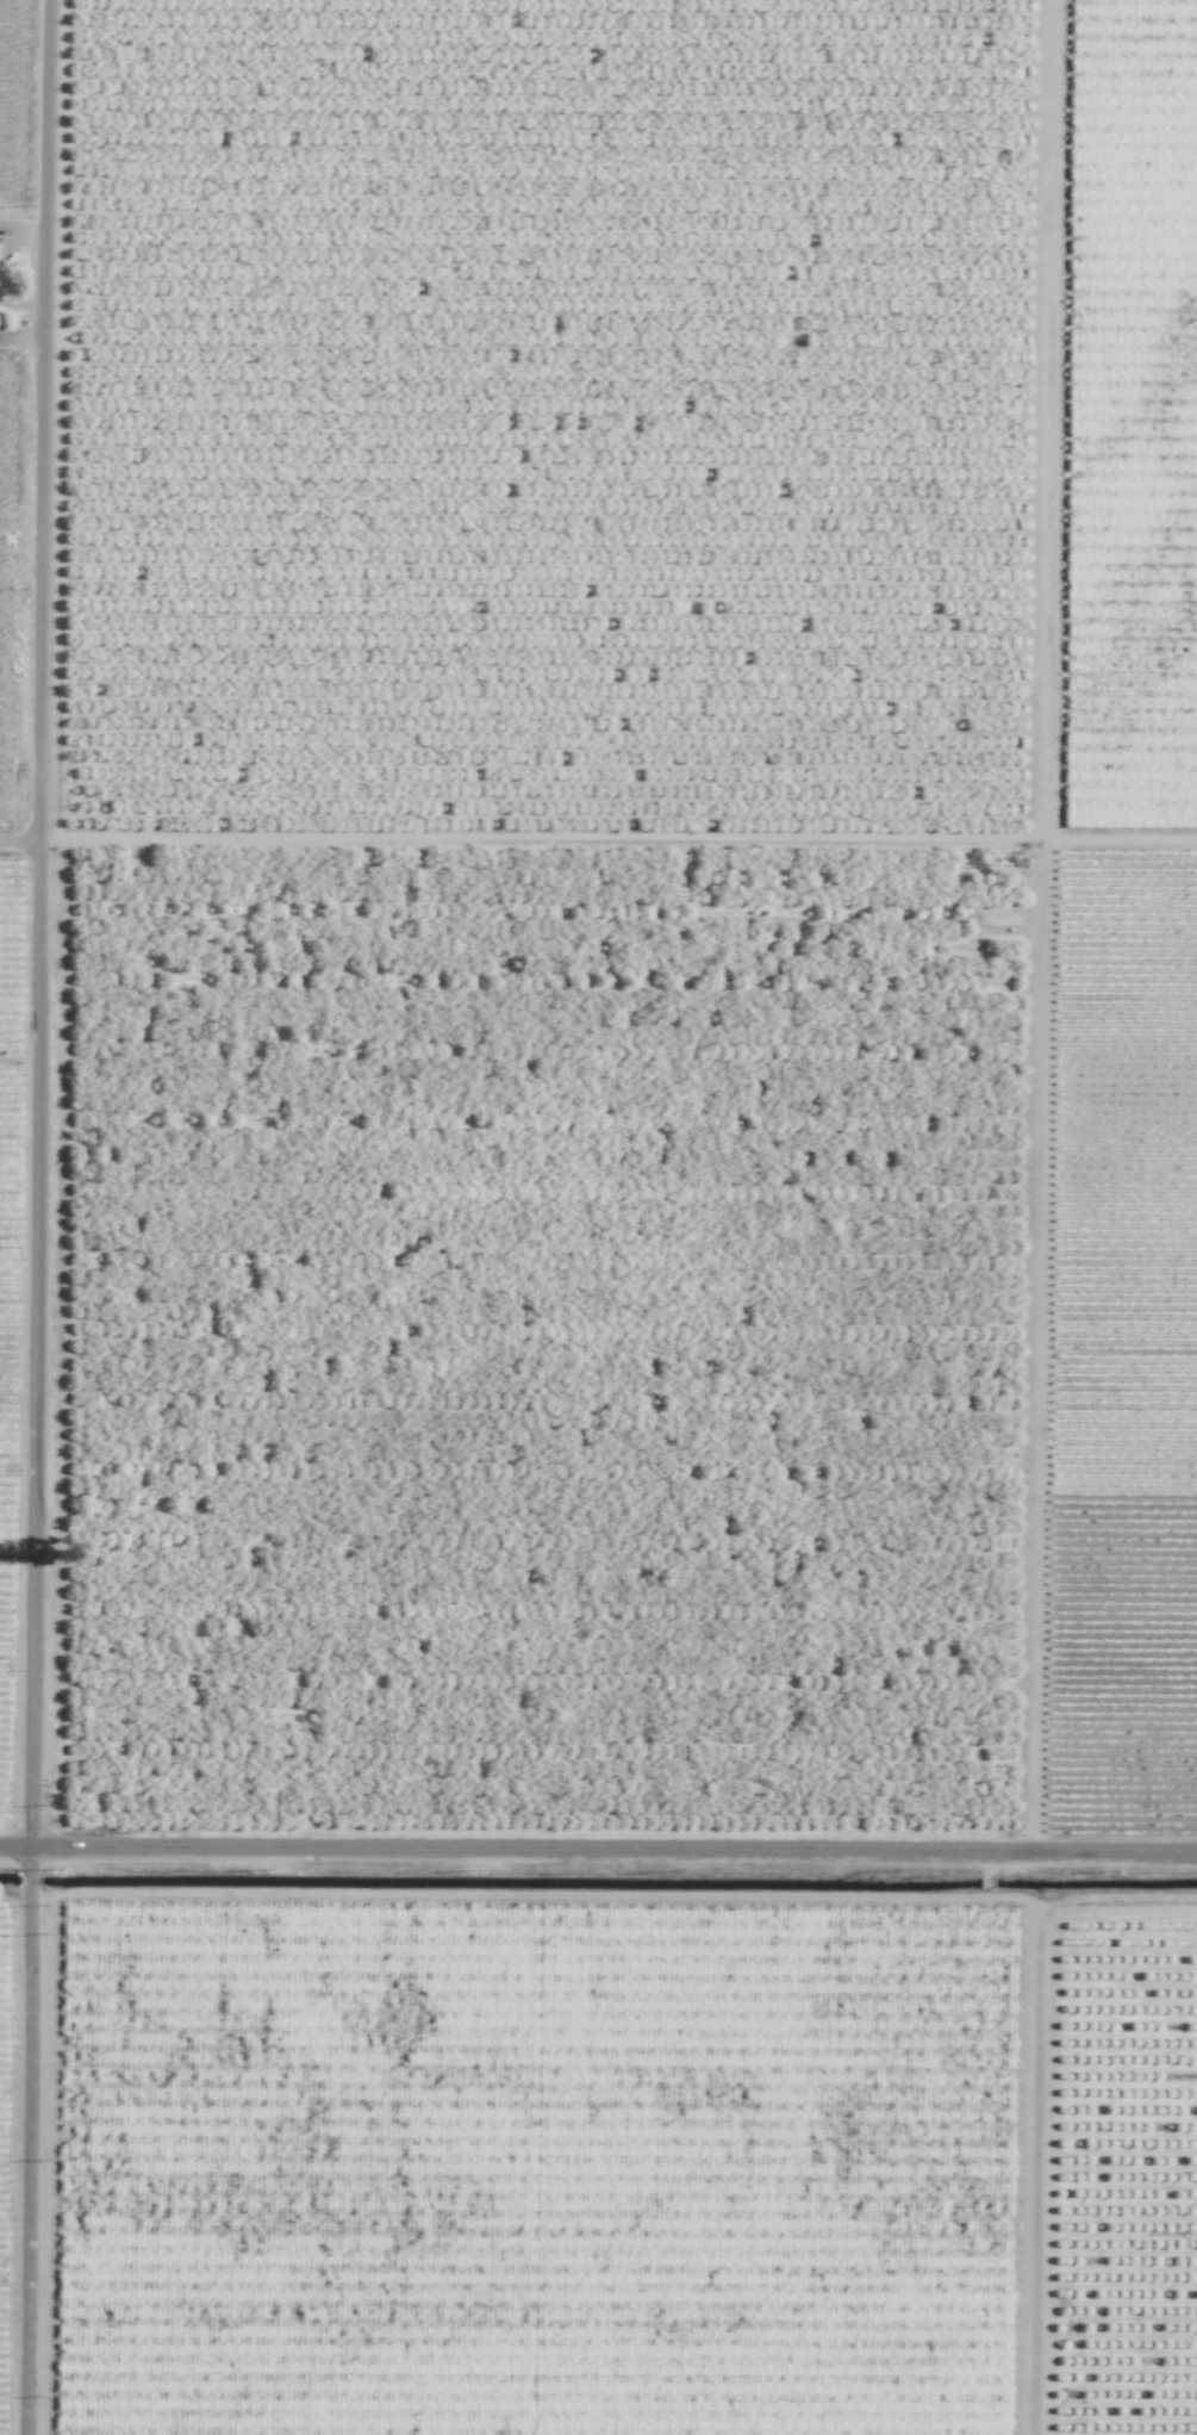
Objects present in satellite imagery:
road: (615, 838)
road: (17, 843)
road: (1035, 926)
road: (32, 1217)
road: (598, 1853)

